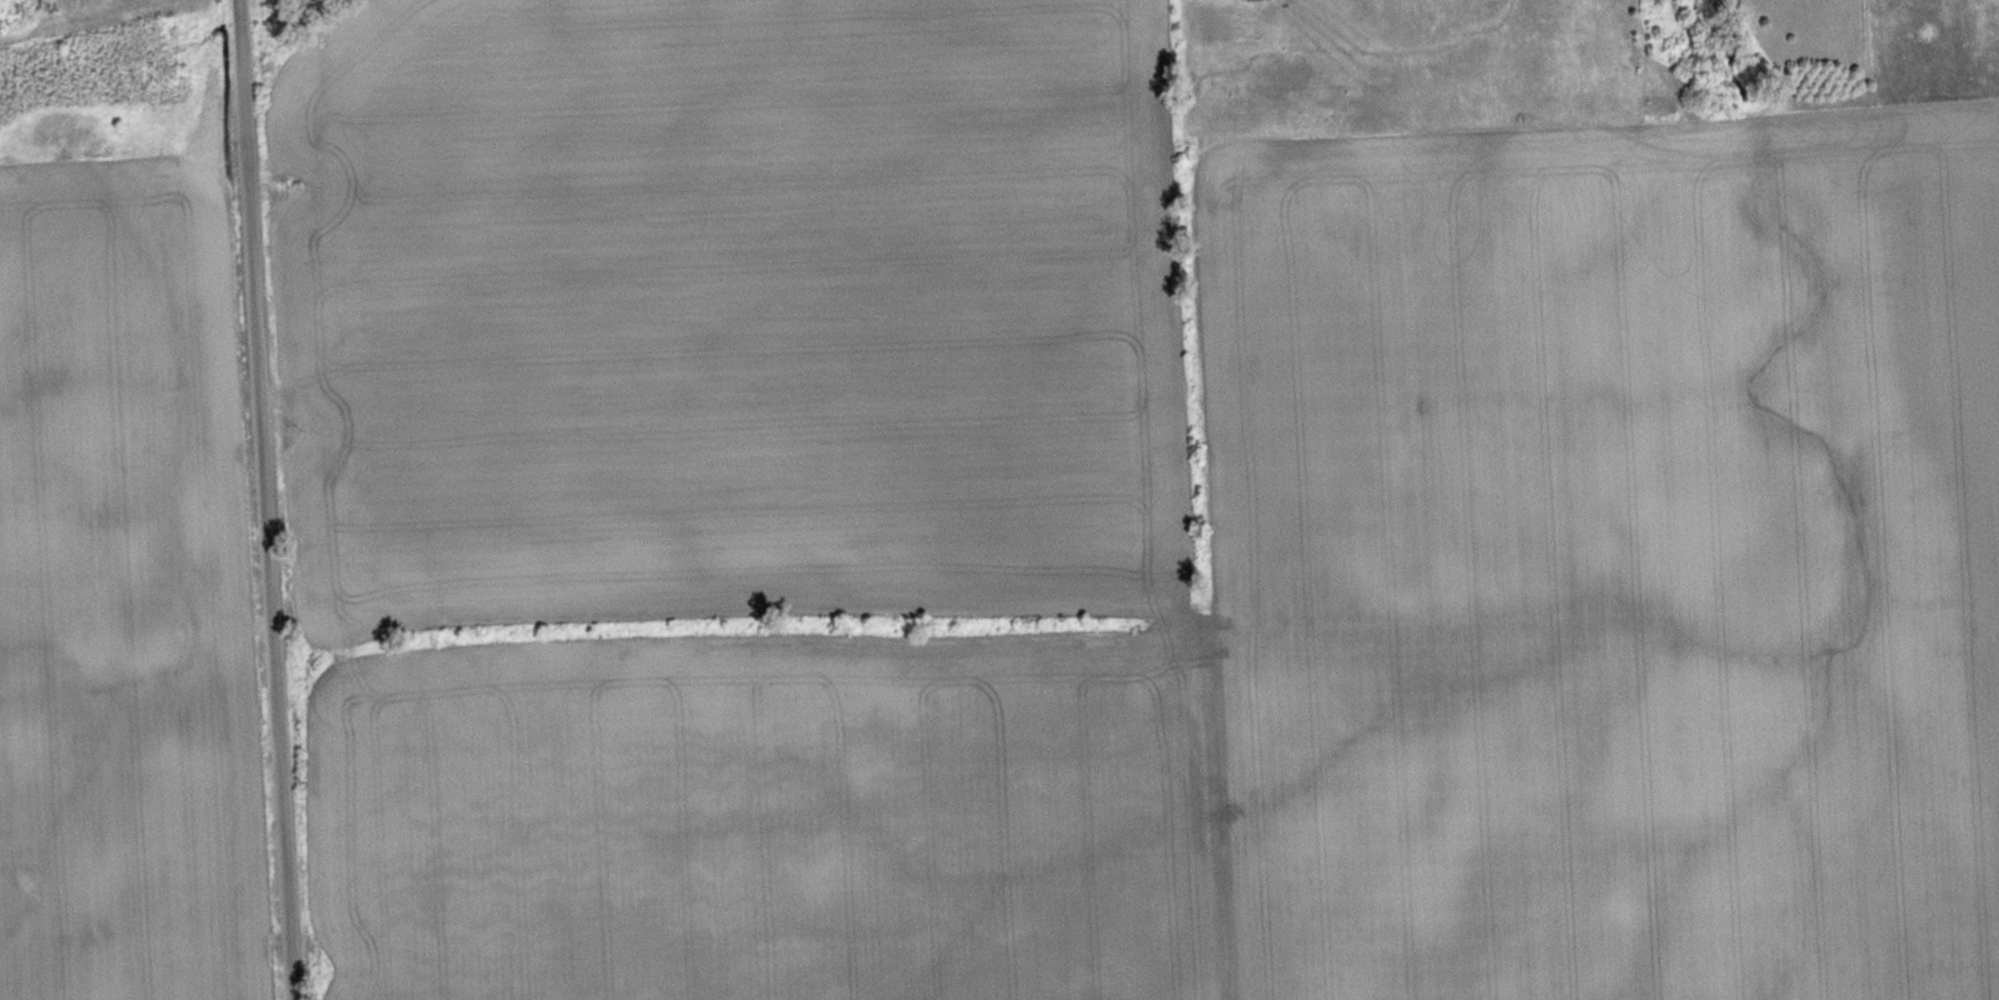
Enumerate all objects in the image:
road: (258, 499)
crop: (1612, 553)

